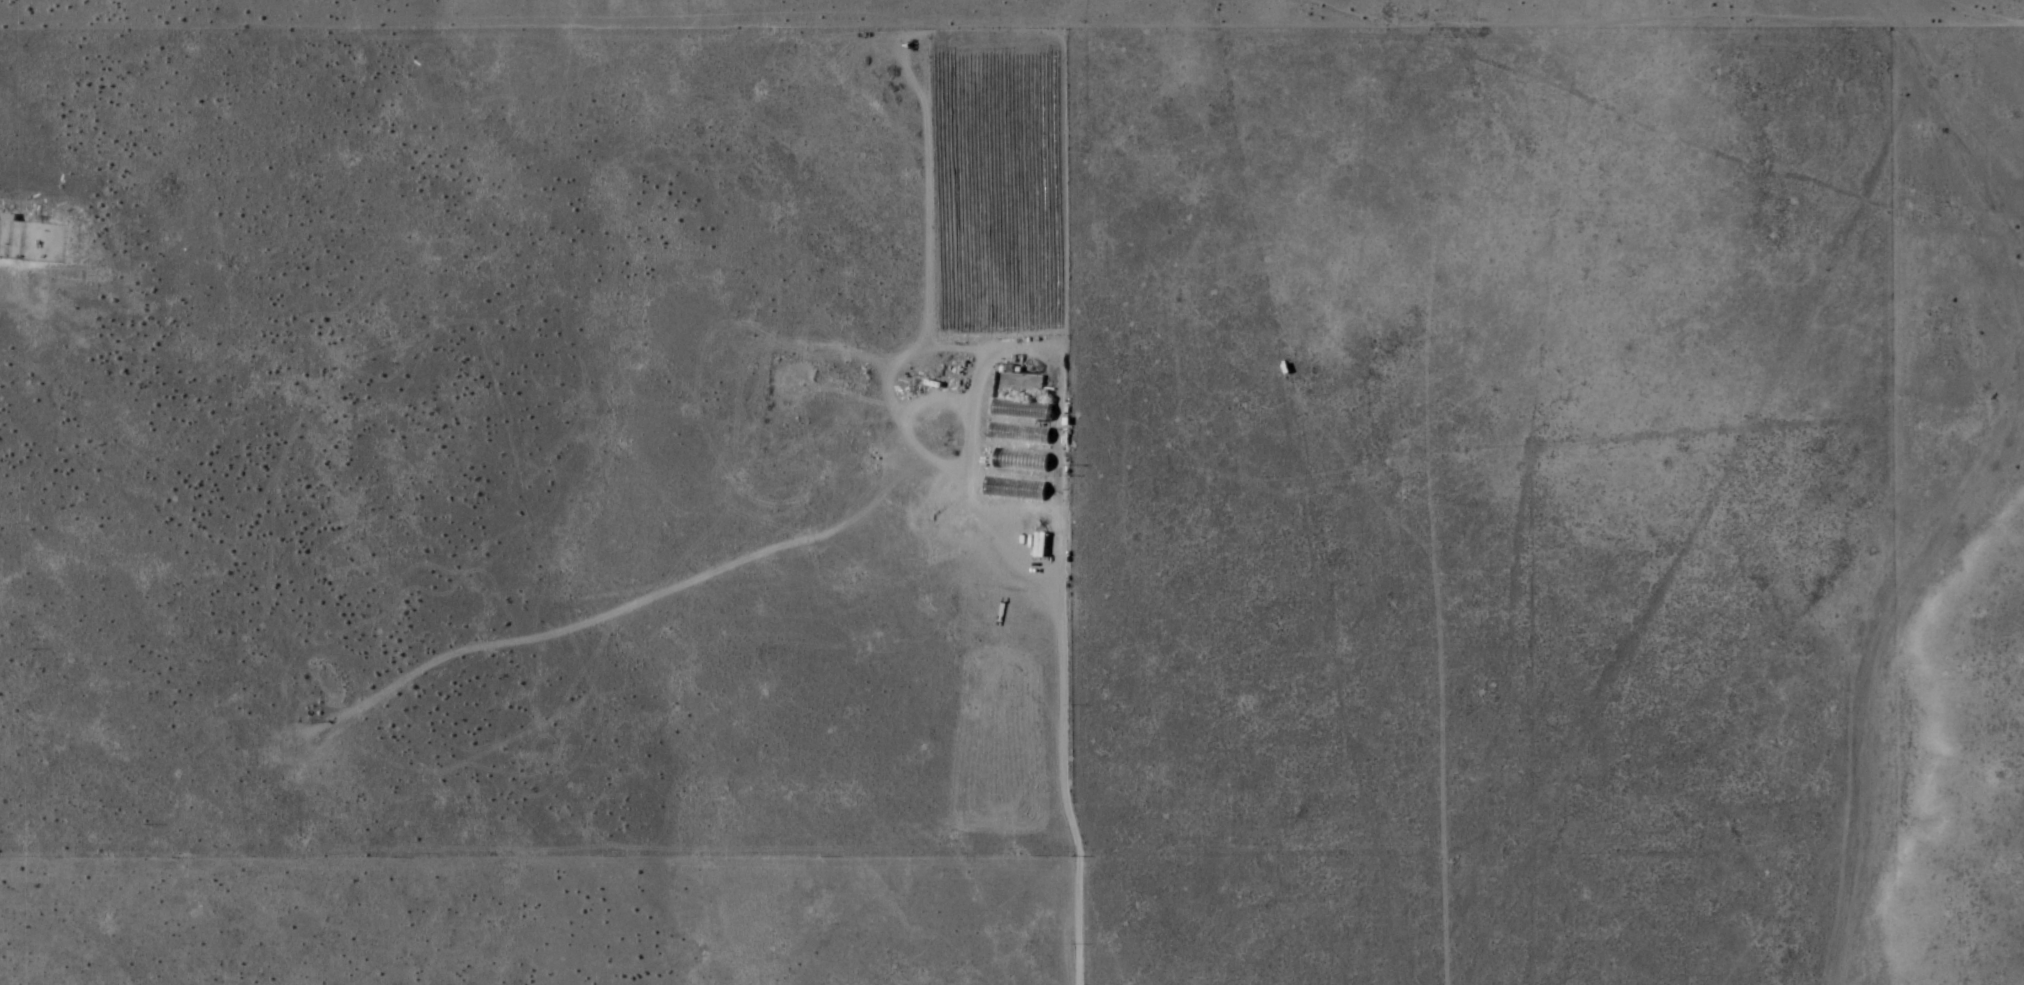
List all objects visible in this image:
building: (1022, 411)
building: (1019, 434)
building: (1021, 461)
road: (1056, 724)

